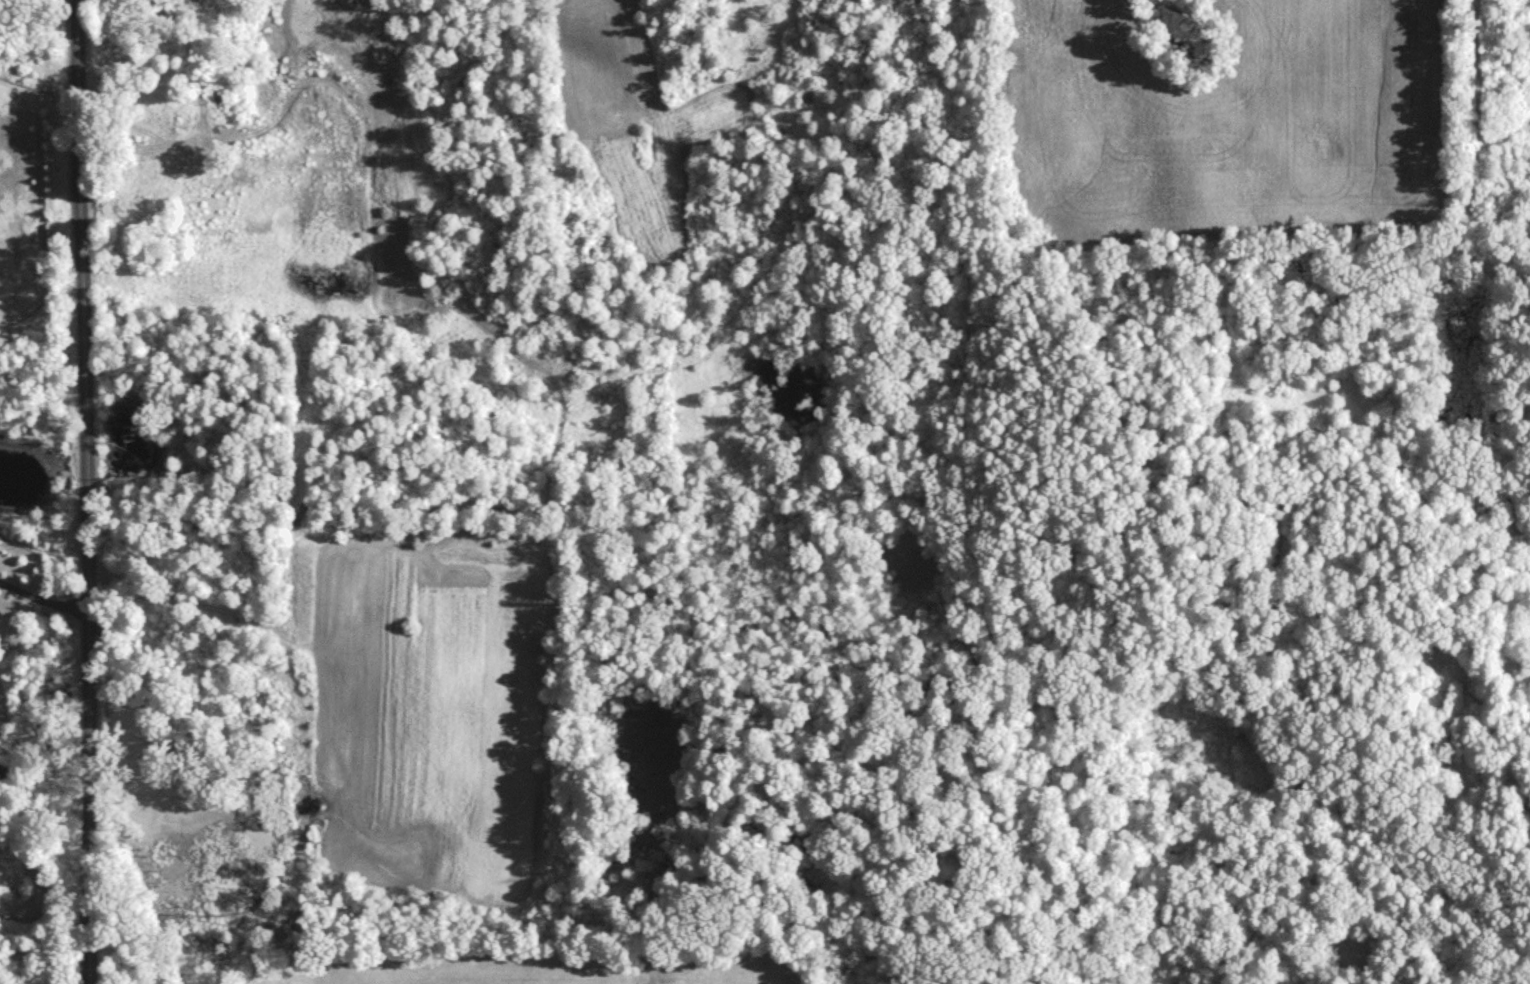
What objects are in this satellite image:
building: (138, 113)
road: (86, 491)
road: (42, 596)

